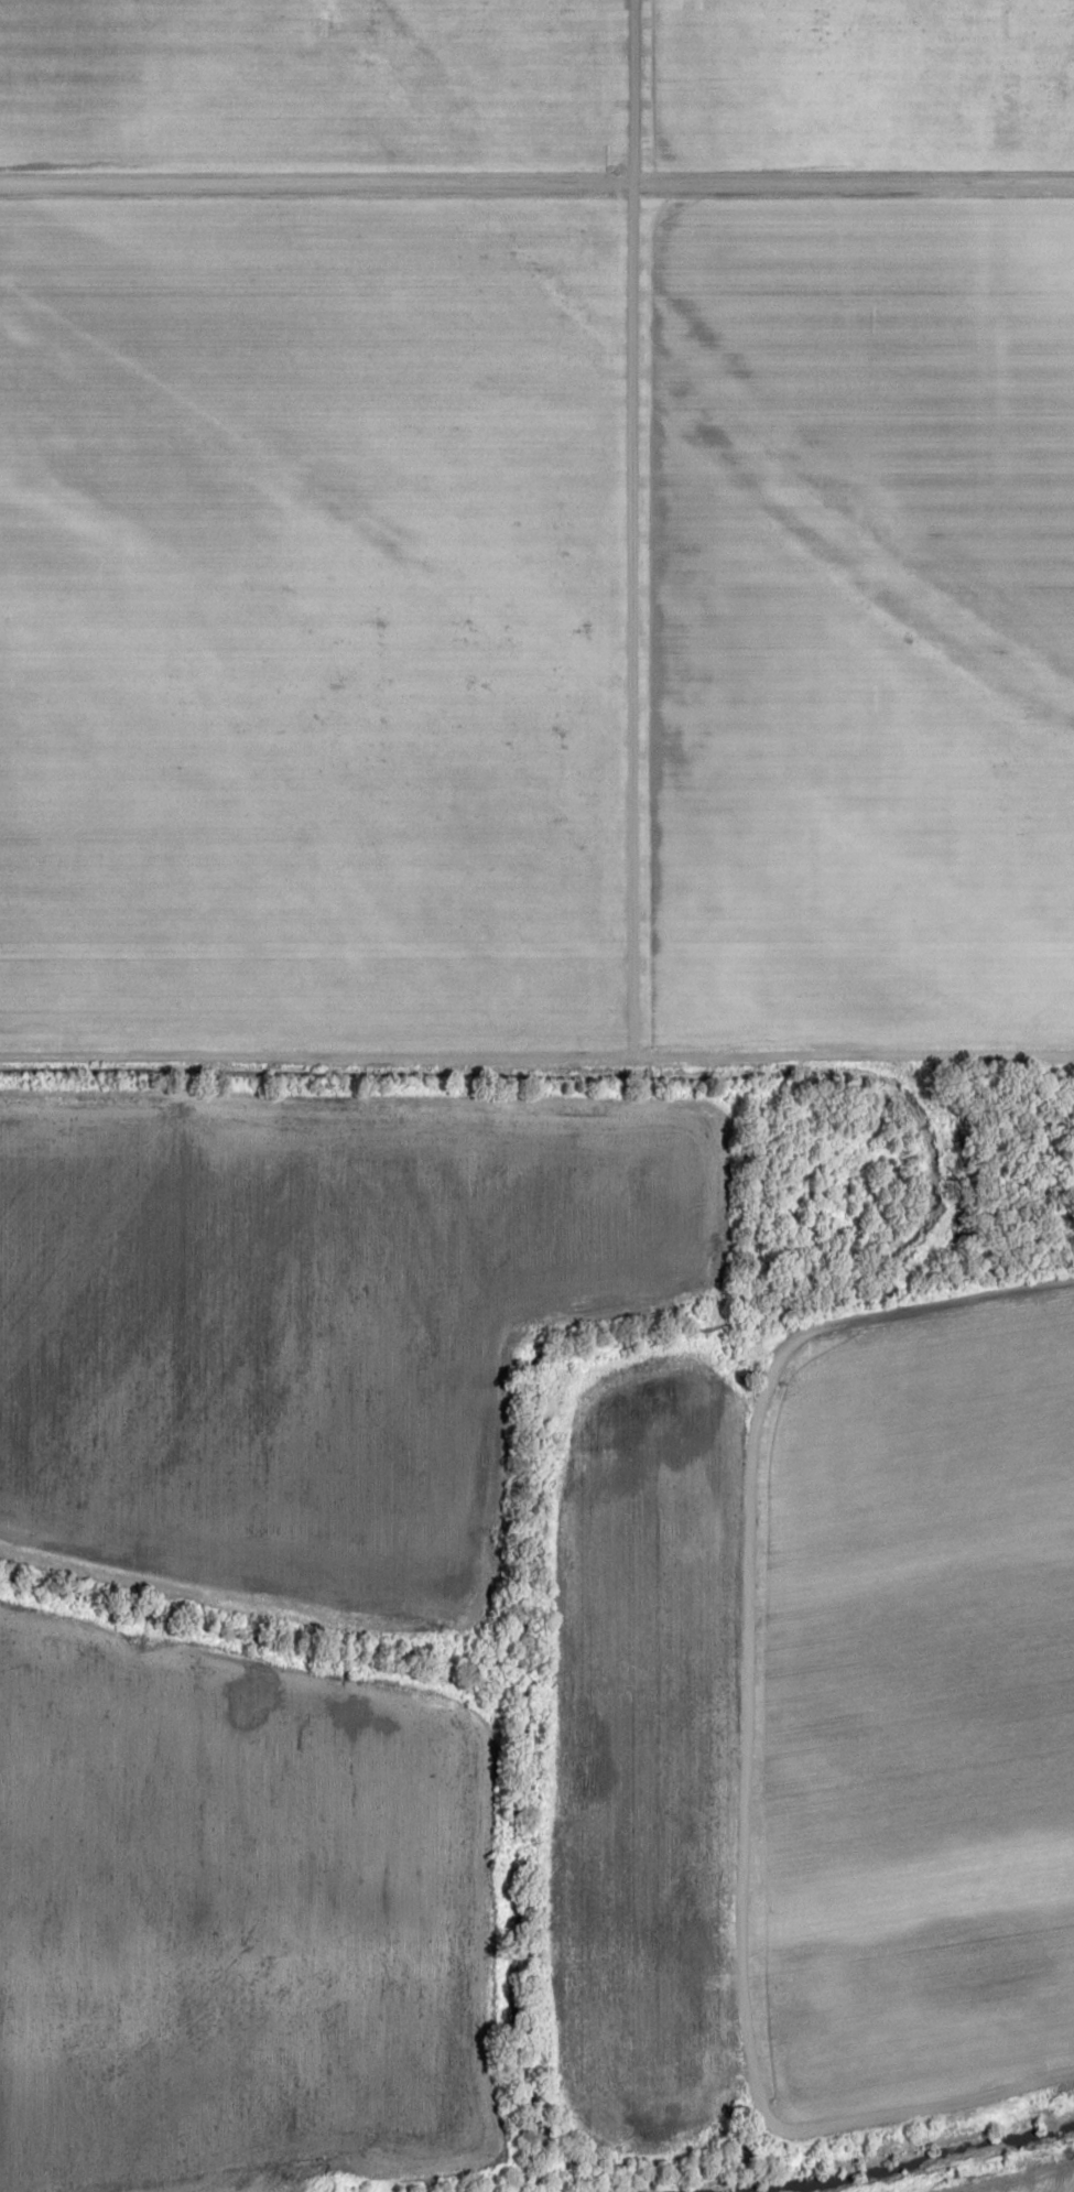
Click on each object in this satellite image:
road: (491, 1803)

